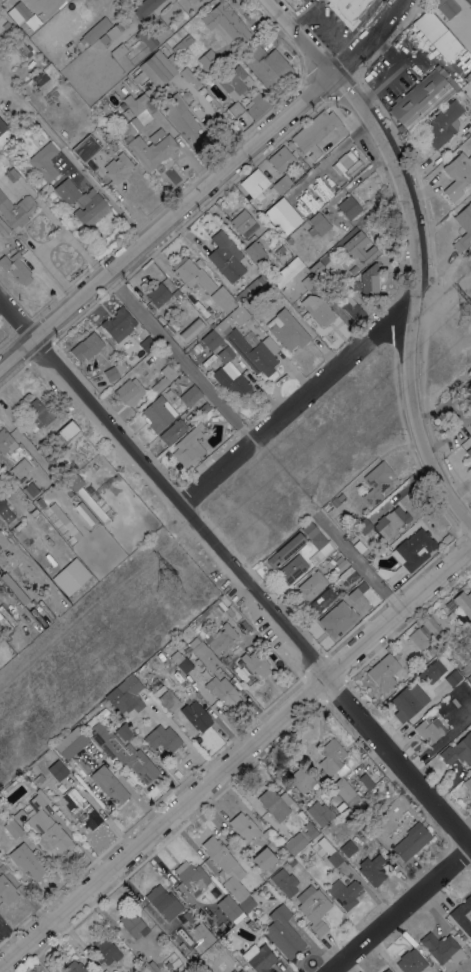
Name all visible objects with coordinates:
building: (192, 1)
building: (305, 1)
building: (468, 2)
building: (145, 7)
building: (446, 7)
building: (21, 10)
building: (347, 10)
road: (302, 19)
building: (225, 22)
building: (5, 24)
building: (53, 30)
building: (97, 30)
building: (112, 31)
road: (334, 31)
building: (437, 34)
building: (147, 38)
building: (42, 41)
building: (182, 44)
building: (23, 49)
building: (118, 50)
building: (209, 60)
building: (266, 65)
building: (162, 69)
building: (40, 77)
building: (235, 87)
building: (148, 94)
building: (165, 94)
building: (422, 99)
building: (258, 105)
building: (137, 111)
building: (180, 116)
building: (442, 124)
building: (2, 127)
building: (315, 132)
building: (86, 147)
building: (152, 148)
building: (281, 159)
building: (44, 161)
building: (348, 163)
building: (304, 166)
building: (118, 167)
building: (11, 174)
building: (457, 174)
building: (254, 182)
building: (281, 183)
road: (204, 187)
road: (103, 196)
building: (82, 202)
building: (349, 207)
building: (16, 209)
building: (282, 216)
building: (241, 221)
building: (315, 226)
building: (463, 227)
building: (3, 228)
building: (360, 247)
road: (414, 249)
building: (255, 251)
building: (225, 256)
building: (299, 264)
building: (16, 267)
building: (316, 267)
building: (270, 268)
building: (353, 269)
building: (192, 273)
building: (324, 275)
building: (369, 280)
building: (306, 281)
building: (266, 289)
building: (176, 294)
building: (158, 295)
building: (223, 299)
building: (352, 308)
building: (320, 312)
power tower: (463, 313)
building: (118, 323)
building: (170, 326)
building: (223, 327)
building: (192, 329)
building: (287, 330)
building: (147, 344)
building: (86, 347)
building: (225, 350)
building: (253, 350)
building: (193, 353)
road: (179, 357)
building: (113, 371)
building: (163, 378)
building: (232, 383)
building: (469, 386)
building: (129, 391)
building: (190, 395)
road: (290, 404)
building: (203, 408)
building: (470, 410)
building: (38, 413)
building: (157, 414)
building: (67, 430)
building: (172, 431)
building: (6, 441)
building: (189, 447)
building: (468, 451)
building: (45, 454)
building: (19, 469)
building: (376, 481)
building: (29, 490)
building: (86, 497)
building: (335, 501)
building: (40, 502)
building: (326, 506)
building: (5, 511)
building: (34, 512)
building: (65, 521)
building: (391, 522)
building: (363, 526)
building: (309, 530)
building: (321, 544)
building: (359, 546)
building: (413, 549)
building: (285, 550)
road: (357, 562)
building: (341, 564)
building: (292, 568)
building: (383, 572)
building: (71, 576)
building: (351, 577)
road: (232, 579)
power tower: (165, 582)
building: (310, 586)
building: (321, 601)
building: (347, 601)
building: (463, 603)
building: (208, 611)
building: (331, 625)
building: (429, 626)
building: (470, 628)
building: (470, 633)
building: (202, 634)
building: (222, 637)
building: (418, 639)
building: (203, 654)
building: (182, 663)
building: (255, 664)
building: (466, 667)
building: (431, 671)
building: (383, 672)
building: (452, 677)
building: (222, 691)
building: (128, 695)
building: (168, 700)
building: (407, 702)
building: (196, 715)
building: (429, 729)
building: (124, 730)
building: (162, 738)
building: (71, 743)
building: (120, 749)
building: (458, 750)
road: (234, 756)
building: (332, 758)
building: (57, 770)
building: (38, 779)
building: (301, 779)
building: (366, 781)
building: (467, 783)
building: (109, 785)
building: (10, 786)
building: (344, 790)
building: (307, 796)
building: (366, 797)
building: (275, 803)
building: (81, 808)
building: (320, 812)
building: (19, 816)
building: (47, 824)
building: (244, 826)
building: (13, 828)
building: (311, 832)
building: (411, 841)
building: (296, 842)
building: (348, 848)
building: (263, 858)
building: (334, 858)
building: (27, 860)
building: (291, 862)
building: (226, 867)
building: (371, 869)
building: (191, 876)
building: (284, 881)
building: (6, 889)
building: (344, 893)
building: (163, 902)
building: (246, 903)
building: (230, 908)
building: (313, 908)
road: (399, 910)
building: (463, 915)
building: (188, 916)
building: (133, 924)
building: (222, 927)
building: (283, 932)
building: (461, 933)
building: (200, 936)
building: (441, 948)
building: (105, 950)
building: (258, 957)
building: (411, 962)
building: (194, 963)
building: (147, 964)
building: (168, 965)
building: (74, 967)
building: (240, 970)
building: (387, 970)
building: (120, 971)
building: (233, 971)
building: (438, 971)
building: (440, 971)

